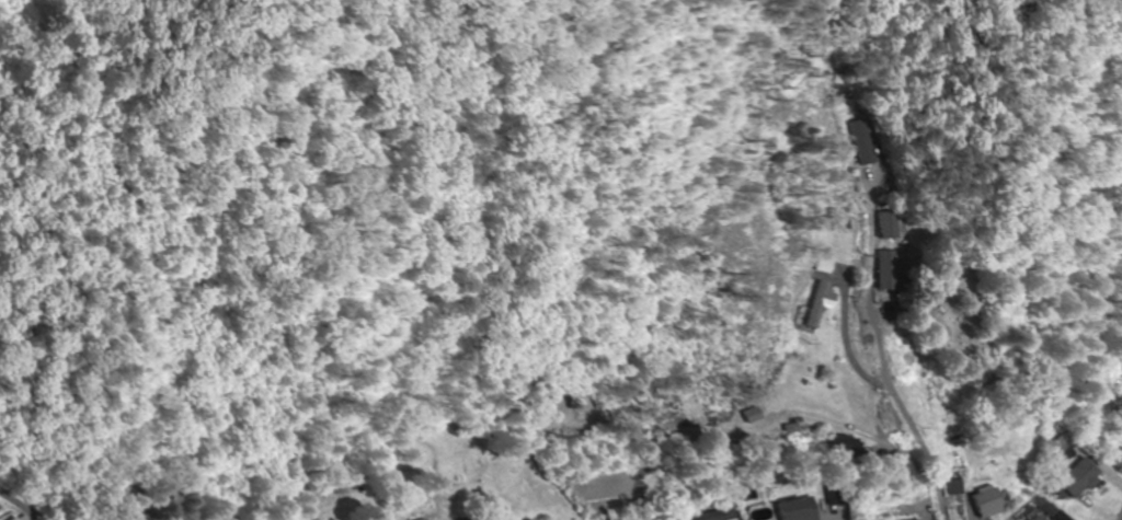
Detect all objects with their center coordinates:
building: (867, 142)
building: (892, 226)
building: (828, 267)
road: (663, 270)
building: (890, 270)
building: (824, 305)
building: (913, 355)
building: (751, 416)
building: (949, 416)
building: (840, 447)
building: (1066, 448)
building: (1081, 477)
building: (987, 501)
building: (799, 509)
building: (1045, 511)
building: (715, 516)
building: (19, 519)
building: (425, 519)
road: (1121, 519)

